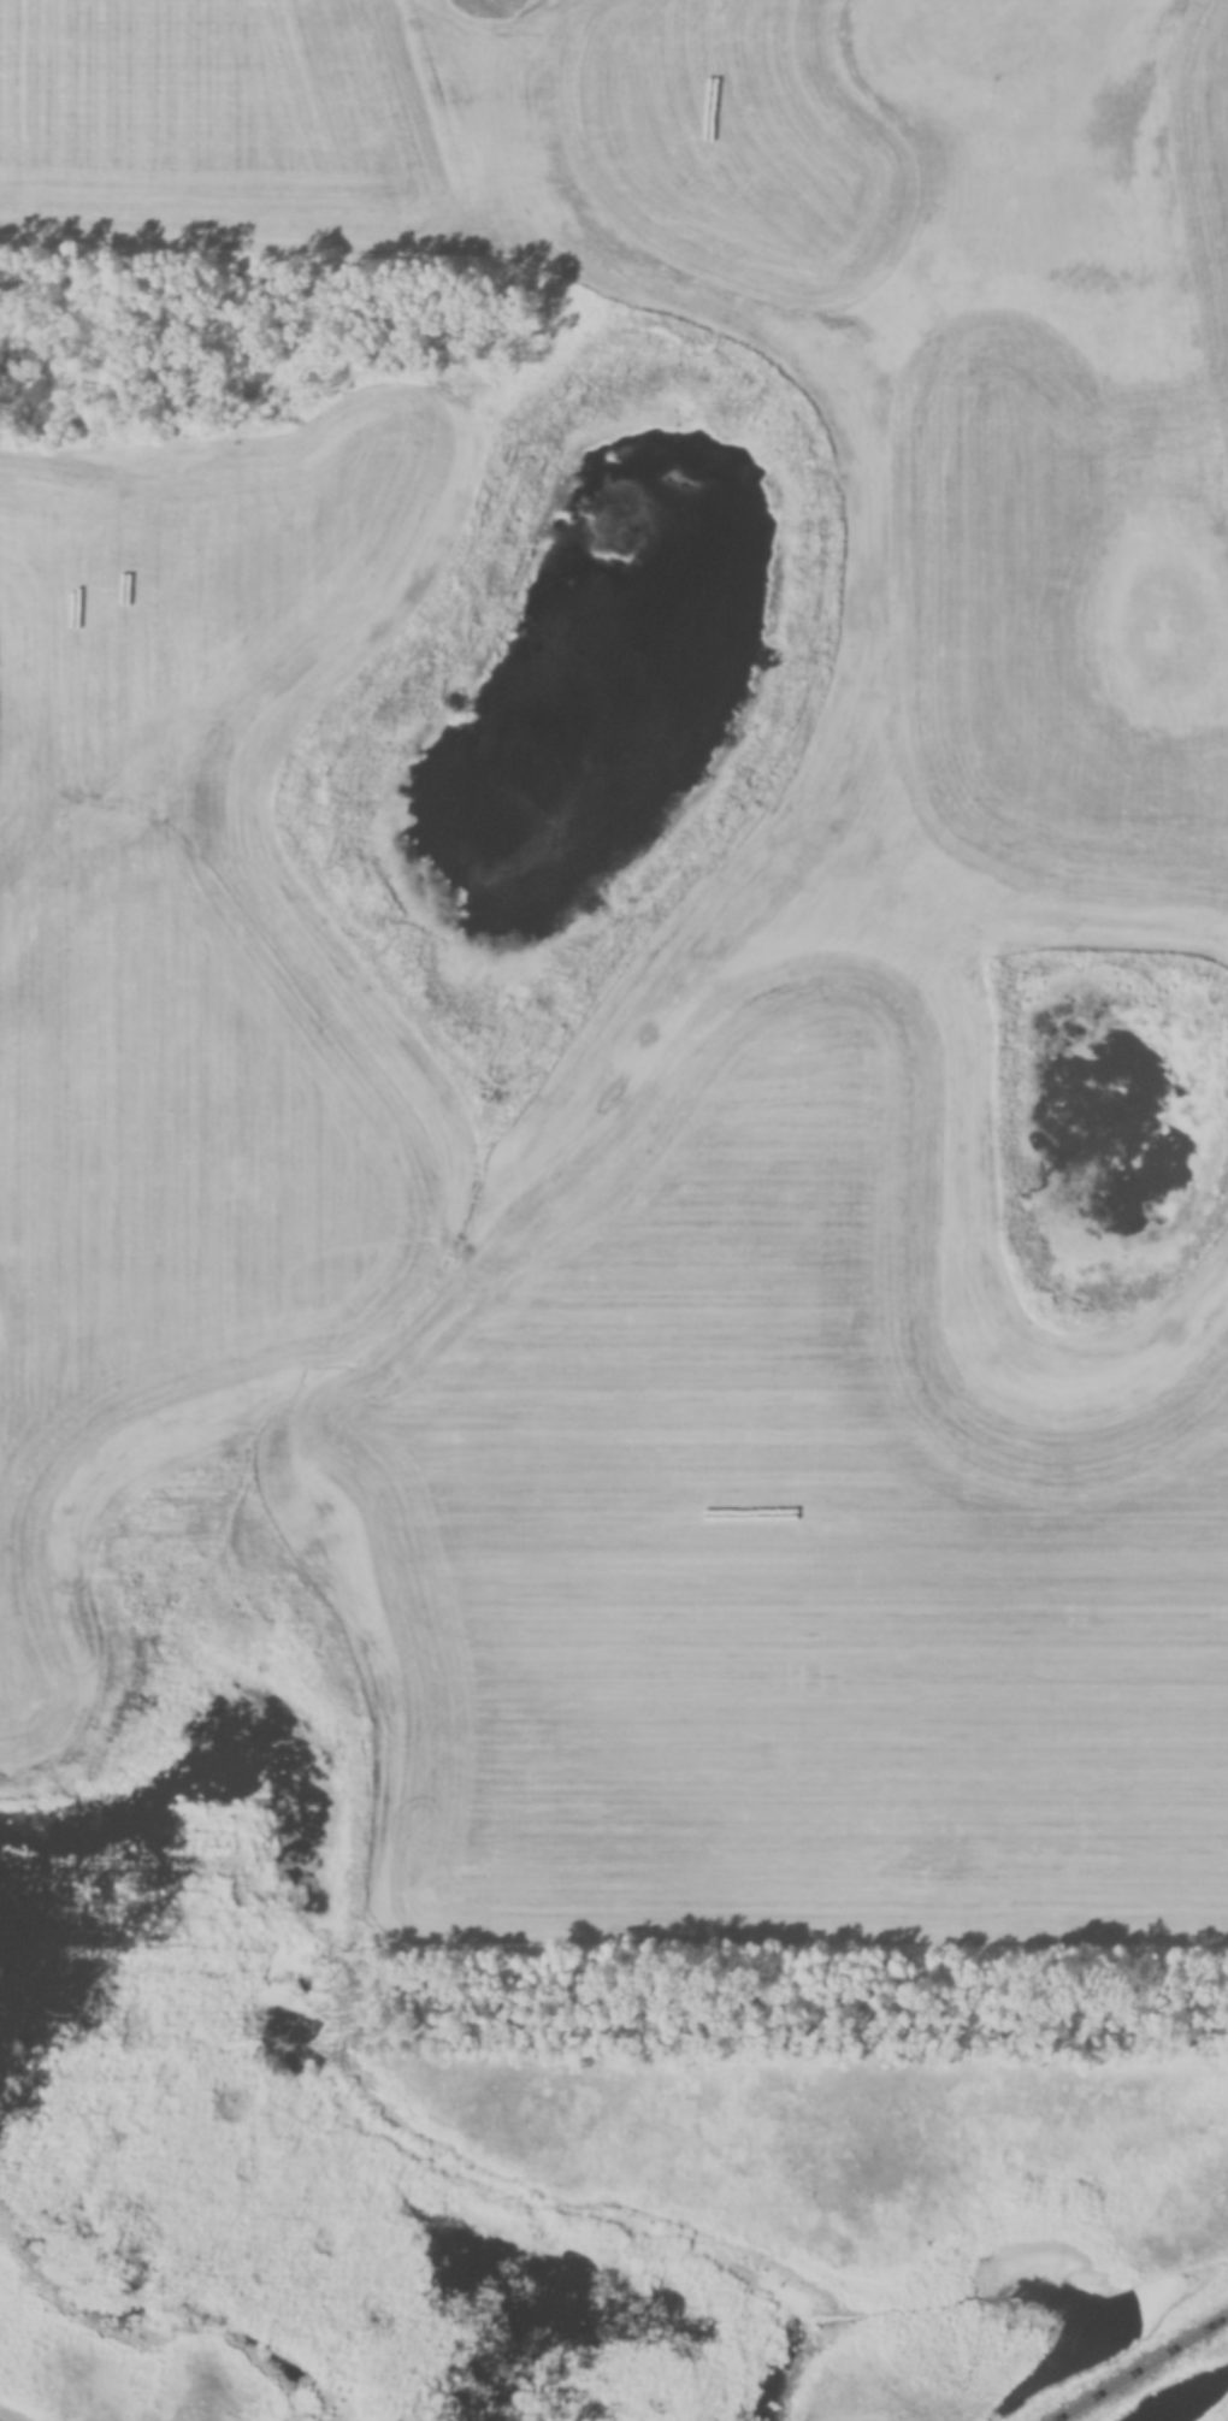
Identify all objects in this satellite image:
railway: (1144, 2369)

